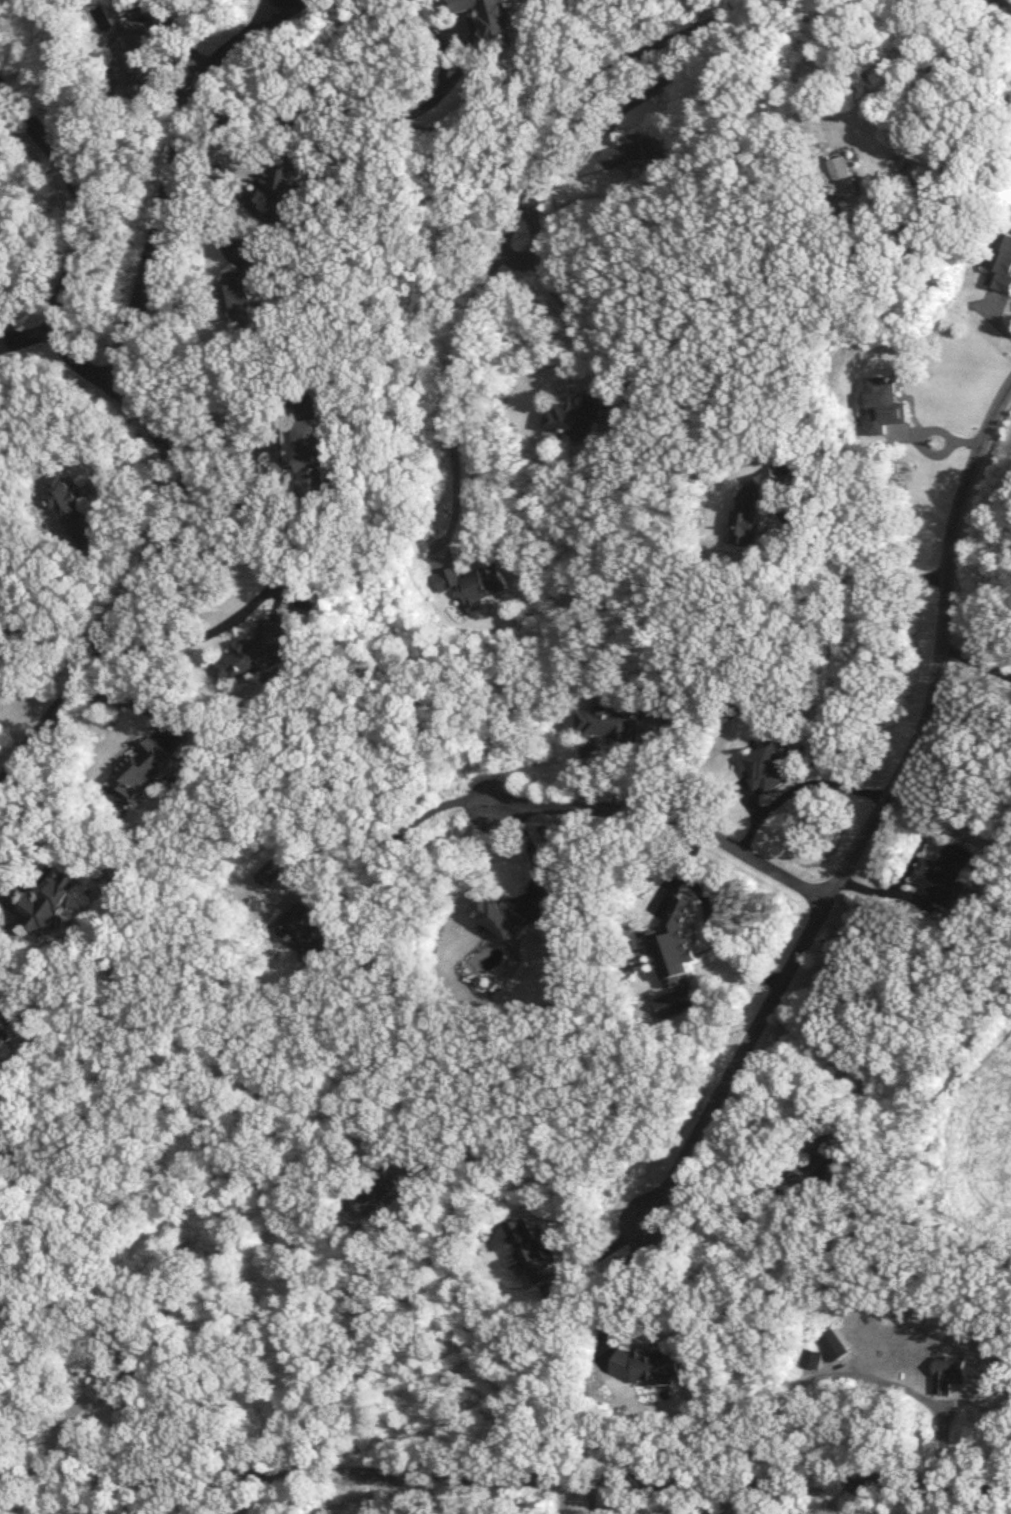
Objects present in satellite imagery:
road: (1000, 8)
road: (259, 15)
road: (281, 16)
building: (497, 21)
building: (136, 59)
road: (924, 105)
road: (383, 111)
building: (625, 152)
building: (844, 175)
building: (287, 184)
road: (162, 196)
road: (507, 224)
building: (1001, 261)
building: (246, 289)
road: (554, 297)
road: (25, 344)
building: (574, 418)
road: (148, 432)
building: (315, 461)
building: (71, 502)
road: (237, 507)
building: (755, 507)
road: (859, 568)
building: (478, 584)
road: (245, 607)
building: (256, 653)
road: (975, 664)
building: (611, 725)
building: (774, 766)
building: (144, 768)
road: (797, 790)
road: (670, 816)
road: (394, 838)
road: (53, 841)
road: (531, 847)
road: (841, 871)
building: (943, 875)
building: (52, 900)
building: (502, 917)
road: (708, 919)
building: (306, 929)
building: (676, 940)
building: (8, 1030)
building: (824, 1161)
road: (736, 1179)
building: (535, 1249)
building: (833, 1345)
road: (352, 1353)
building: (810, 1358)
building: (652, 1365)
building: (950, 1372)
road: (849, 1373)
building: (109, 1381)
road: (869, 1430)
road: (505, 1479)
road: (151, 1495)
road: (386, 1497)
road: (558, 1497)
road: (590, 1498)

